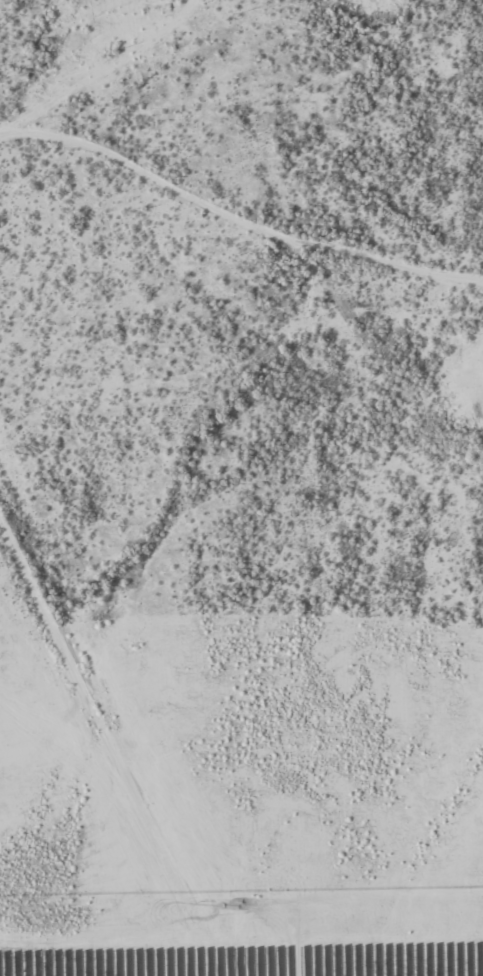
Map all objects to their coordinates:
road: (58, 42)
road: (234, 216)
road: (115, 745)

